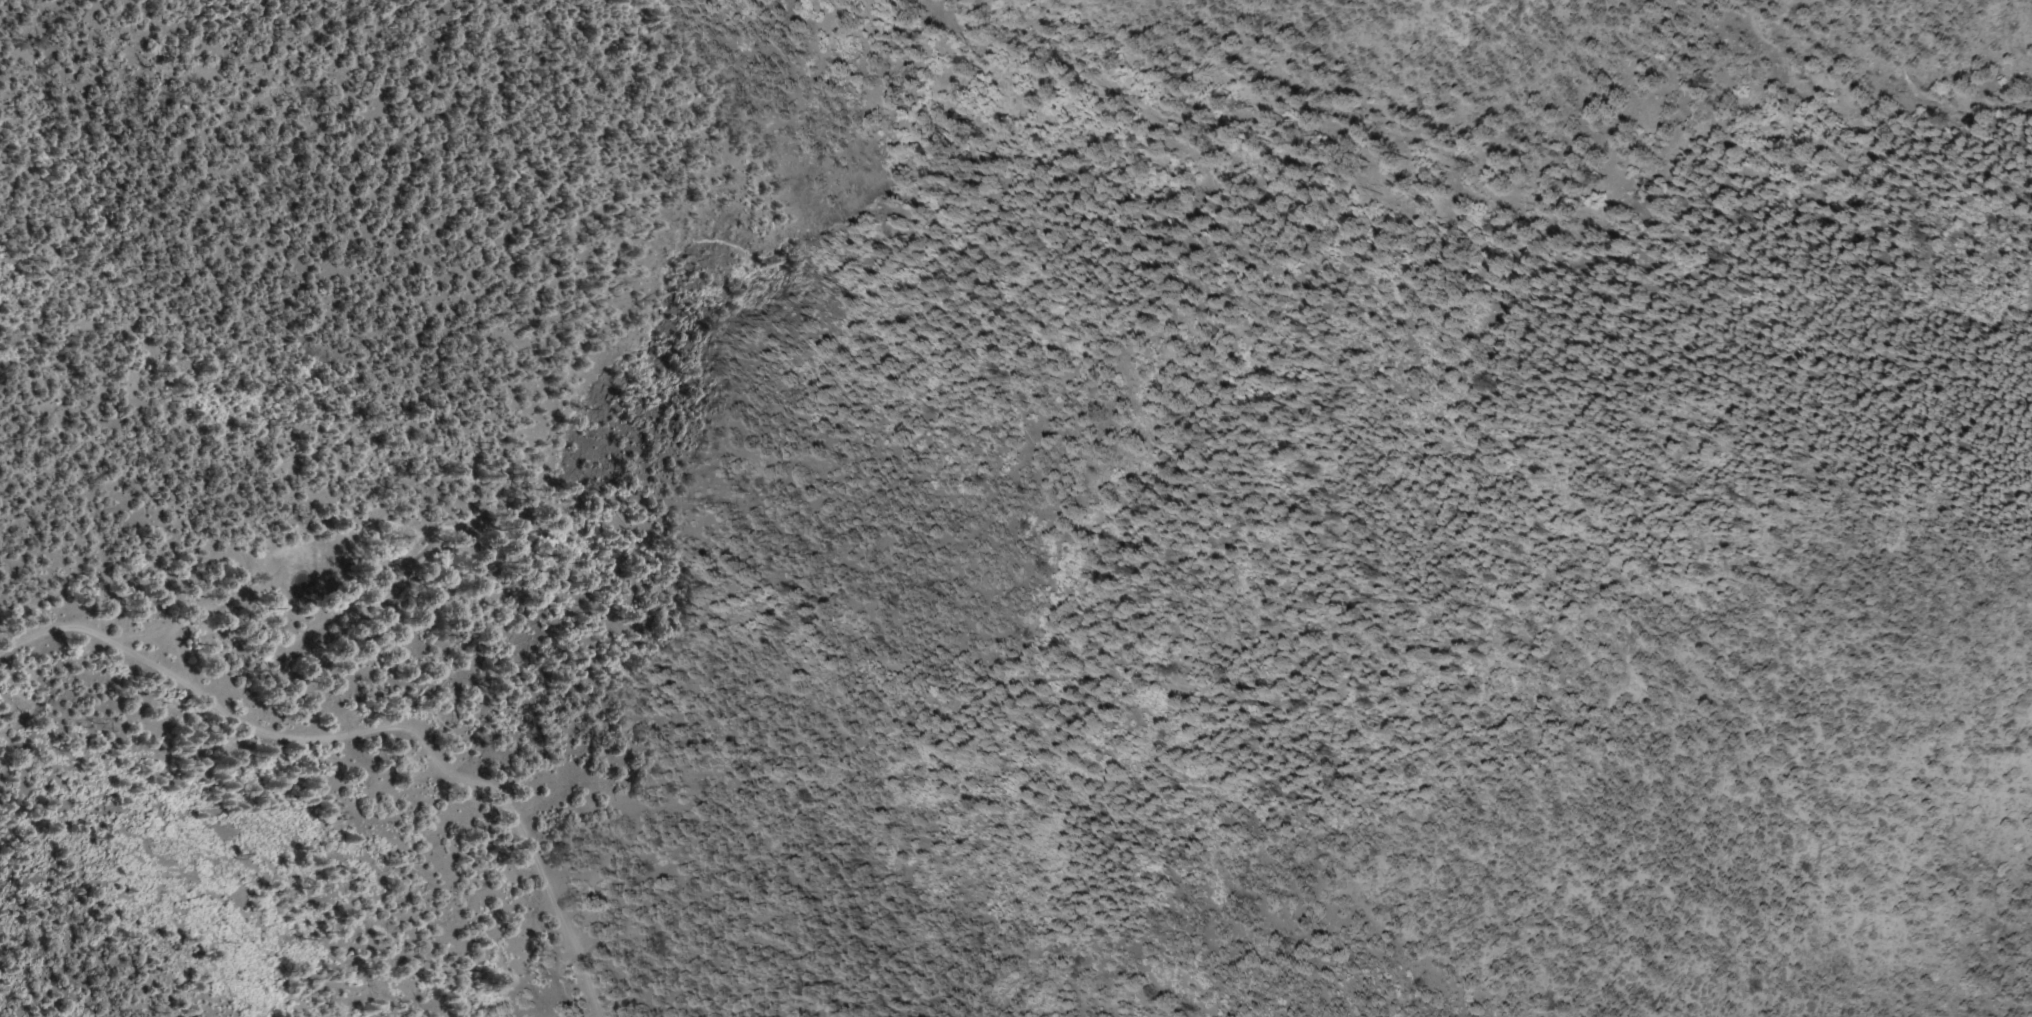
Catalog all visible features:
road: (313, 633)
road: (366, 732)

